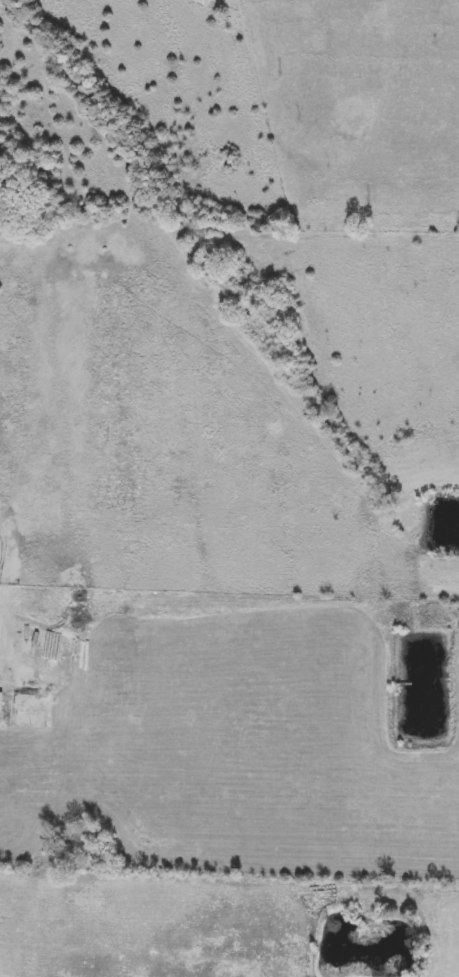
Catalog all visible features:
road: (1, 626)
building: (1, 707)

